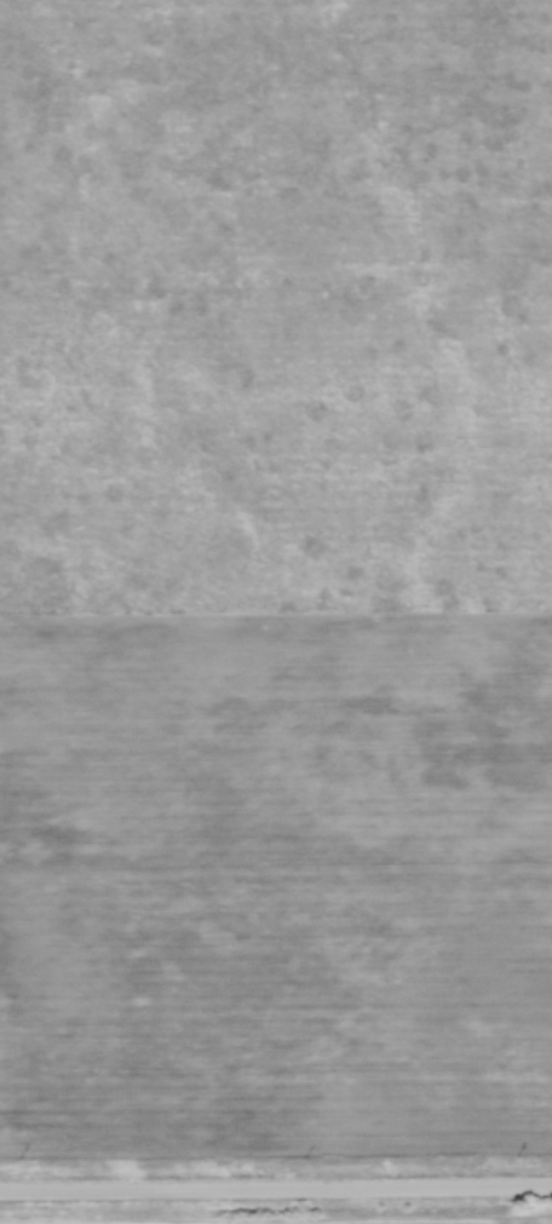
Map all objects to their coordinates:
road: (276, 1200)

